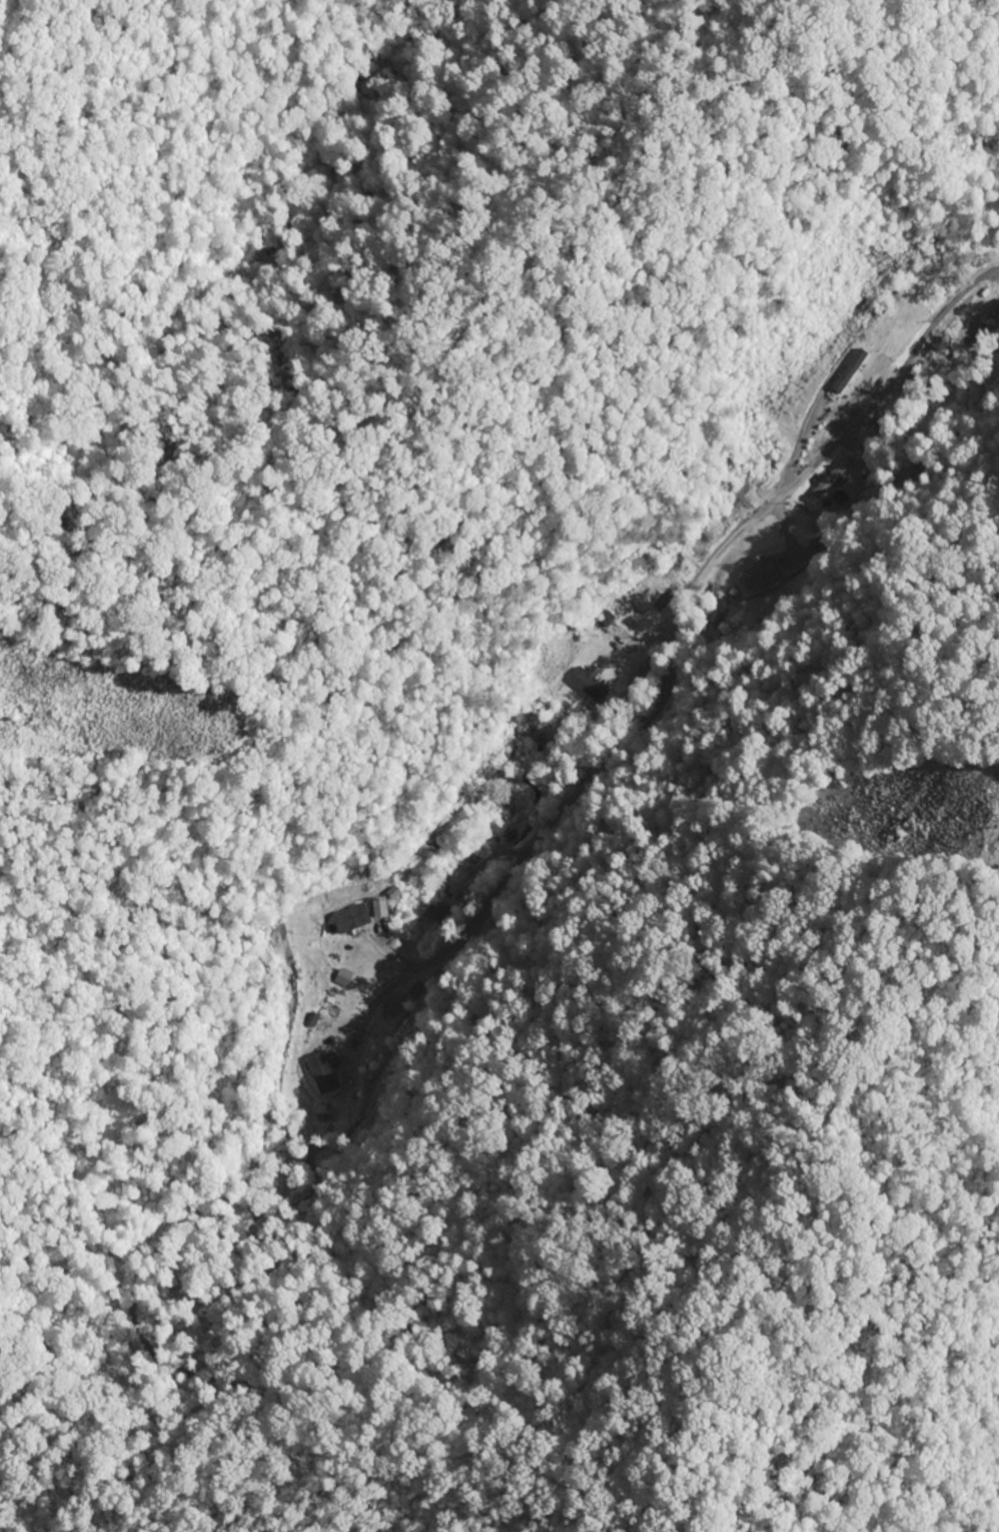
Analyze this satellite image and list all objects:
building: (847, 372)
road: (826, 453)
building: (830, 478)
building: (756, 576)
building: (589, 684)
building: (351, 919)
building: (322, 1074)

